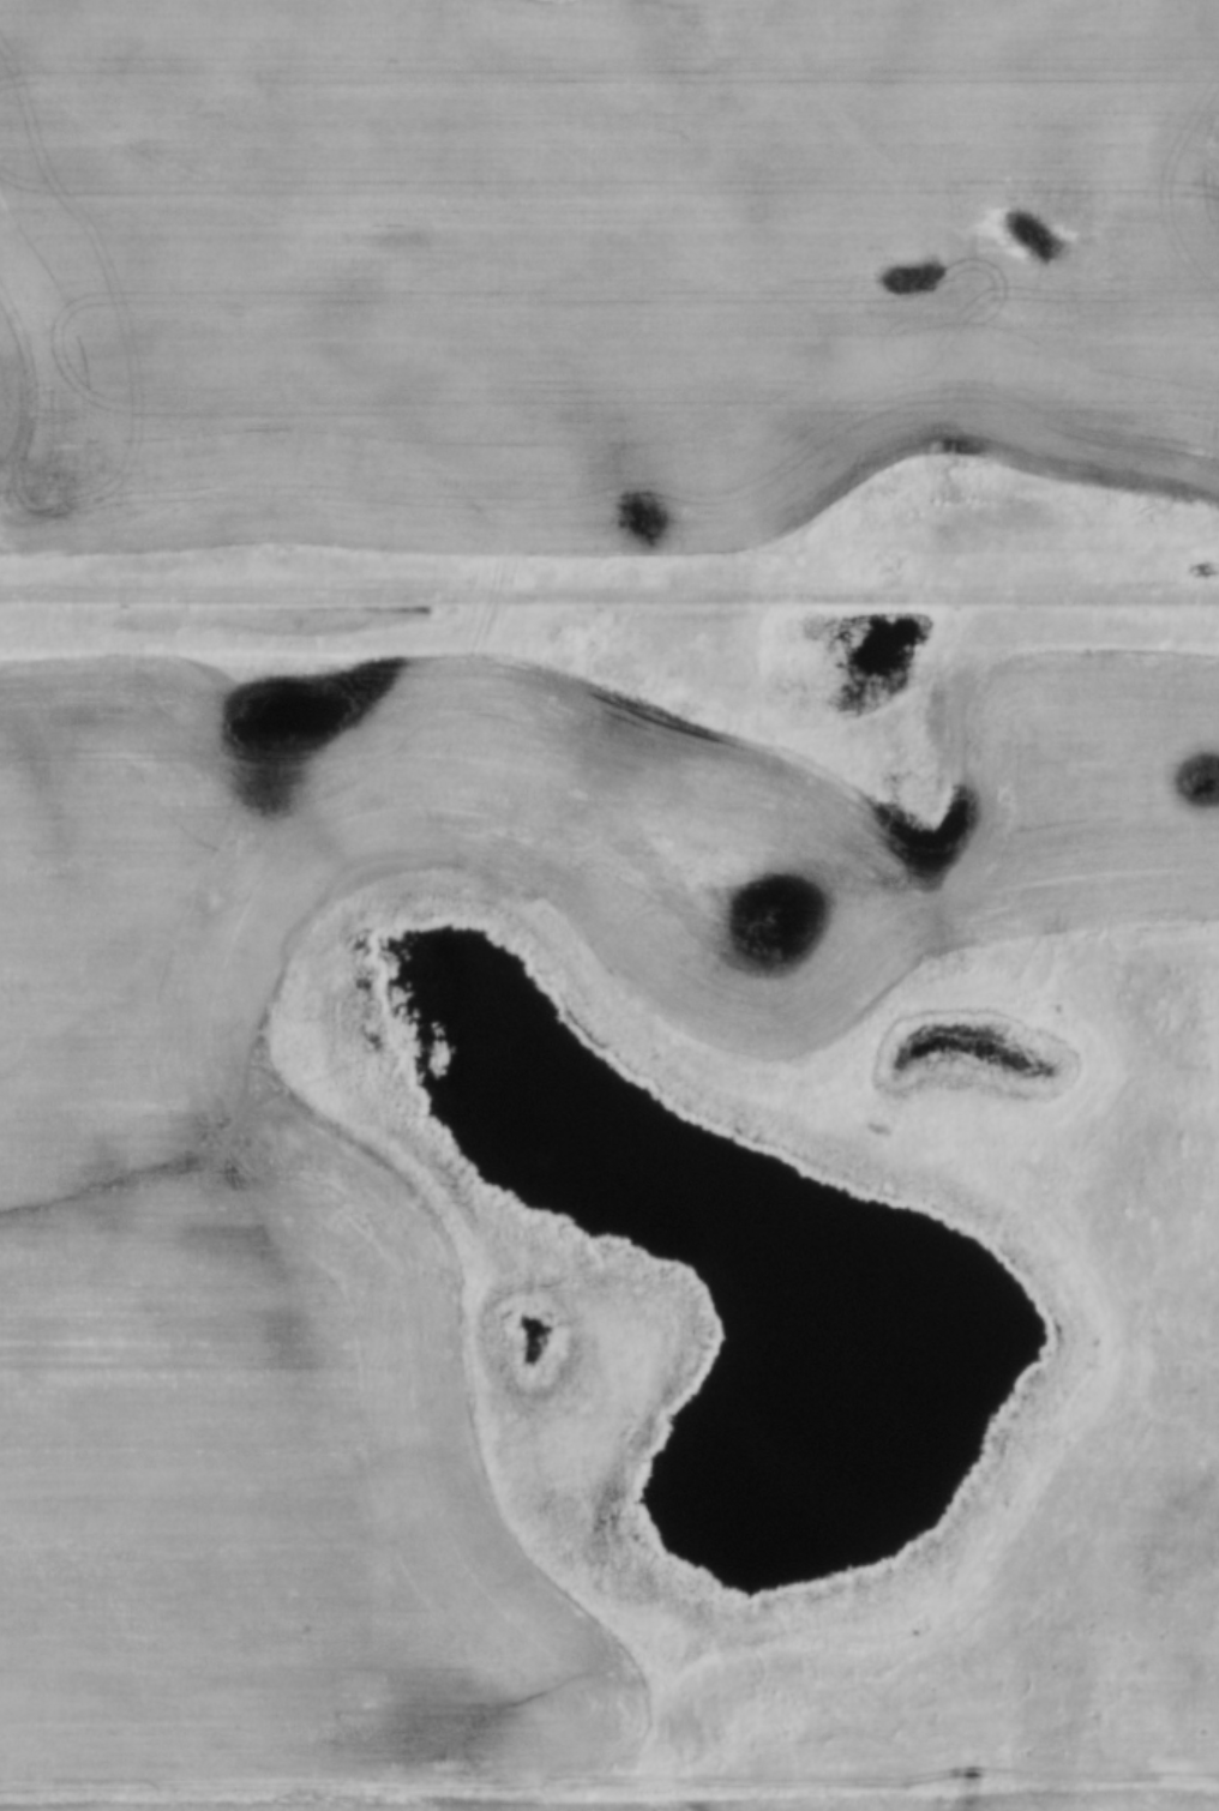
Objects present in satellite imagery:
road: (1035, 1775)

